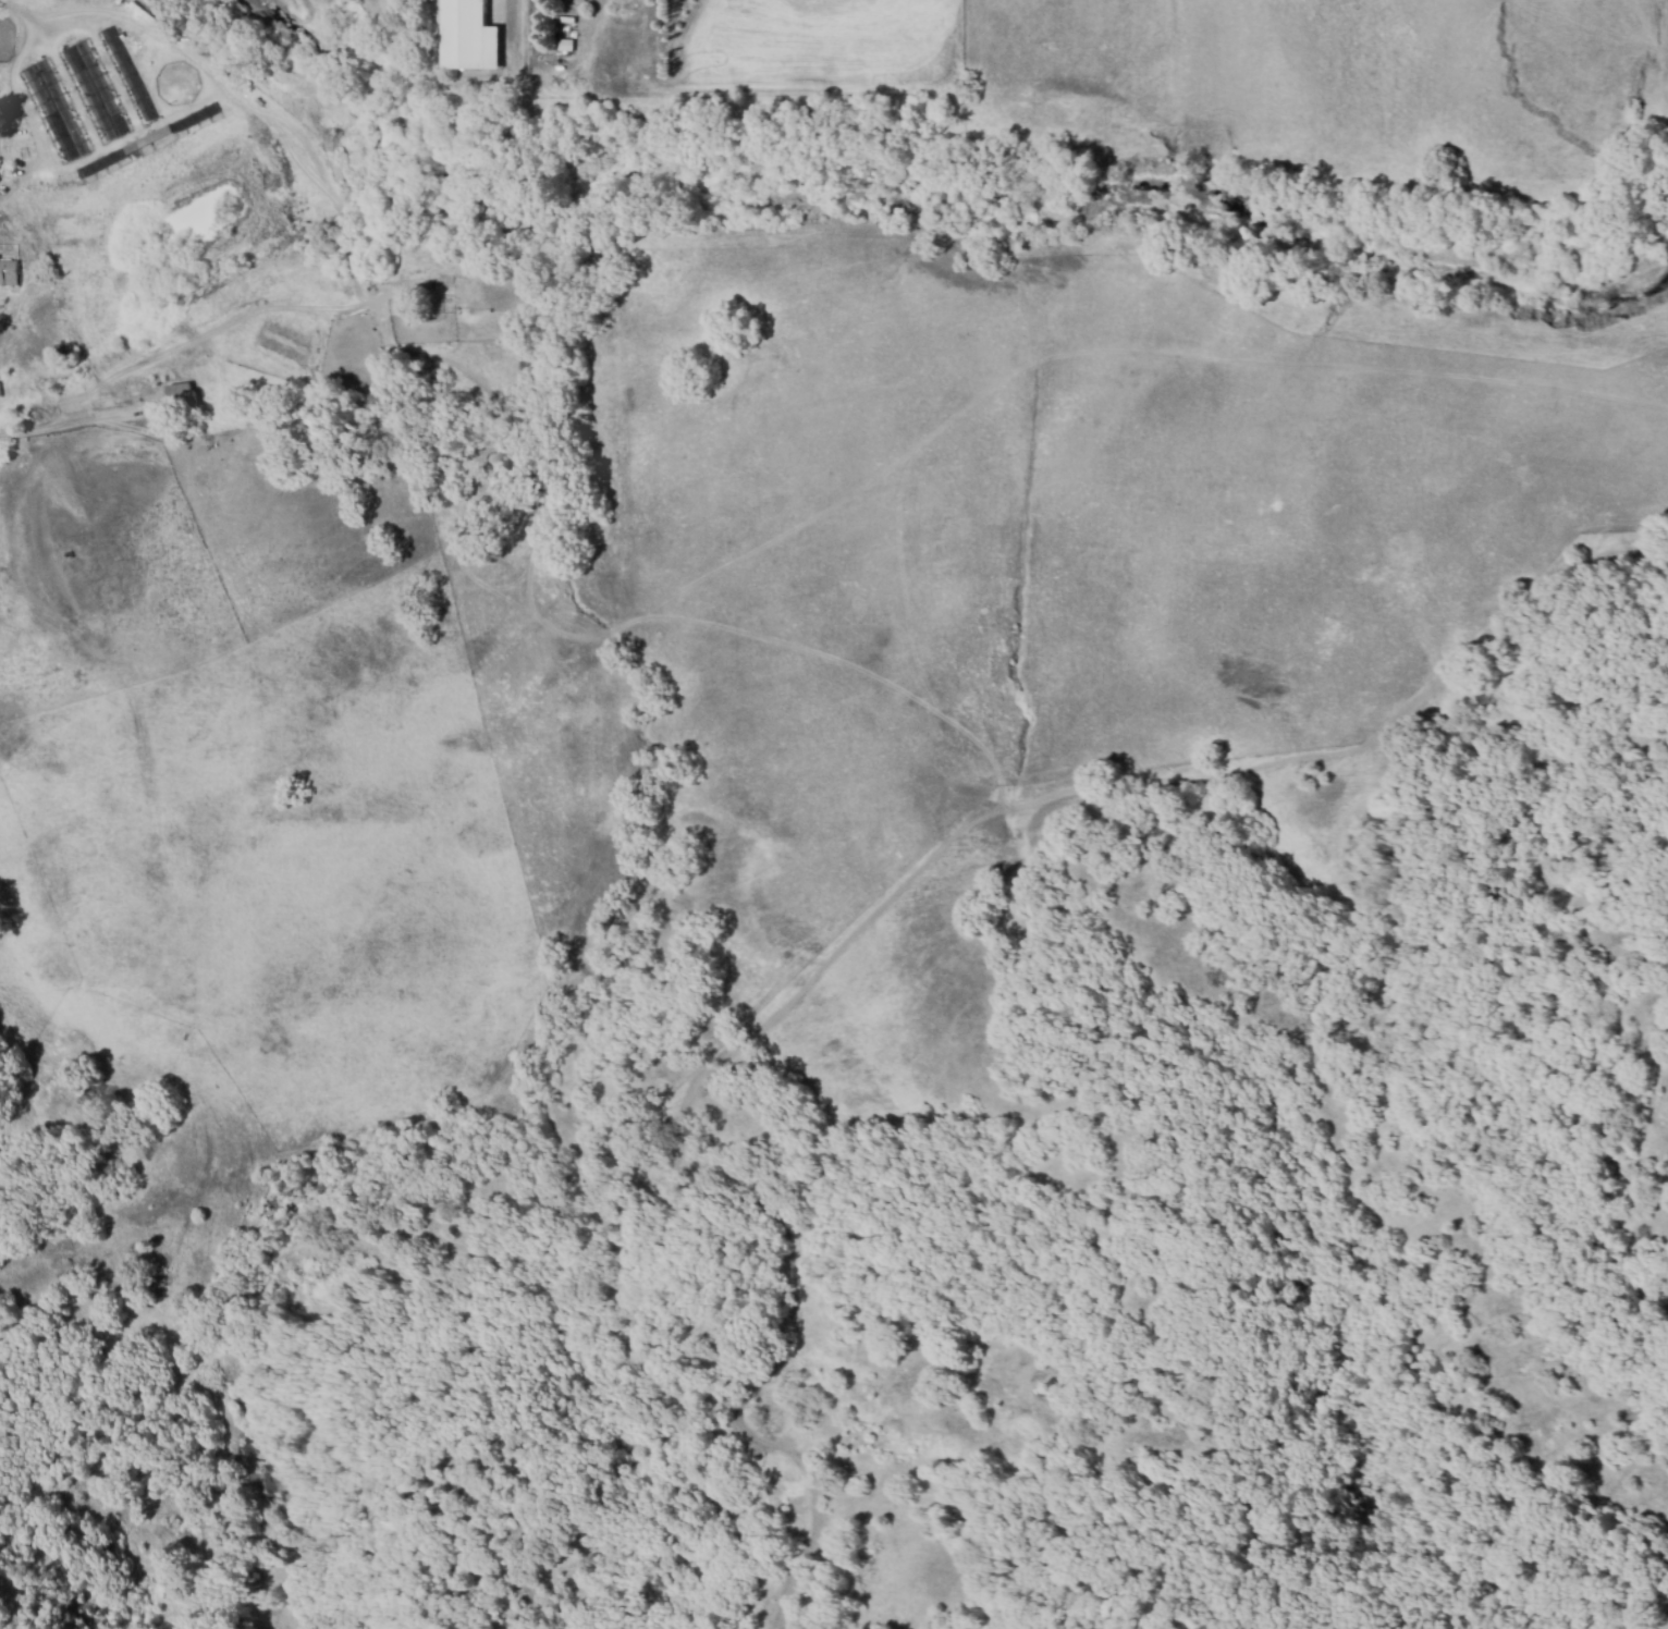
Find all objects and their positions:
building: (470, 36)
park: (3, 42)
building: (566, 47)
building: (9, 273)
building: (0, 395)
building: (182, 400)
road: (58, 424)

